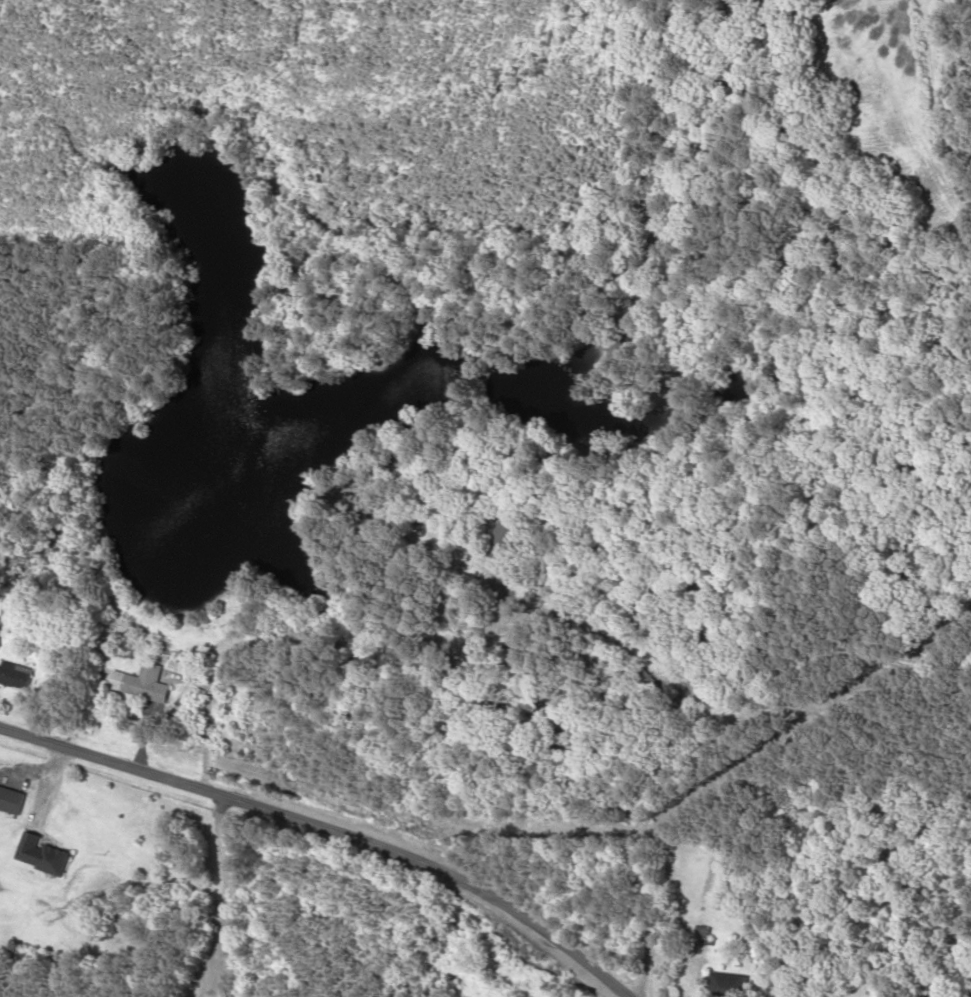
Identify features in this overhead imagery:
building: (505, 535)
building: (14, 675)
building: (641, 676)
building: (145, 684)
building: (9, 801)
road: (329, 830)
road: (653, 840)
building: (38, 855)
road: (478, 951)
building: (727, 985)

